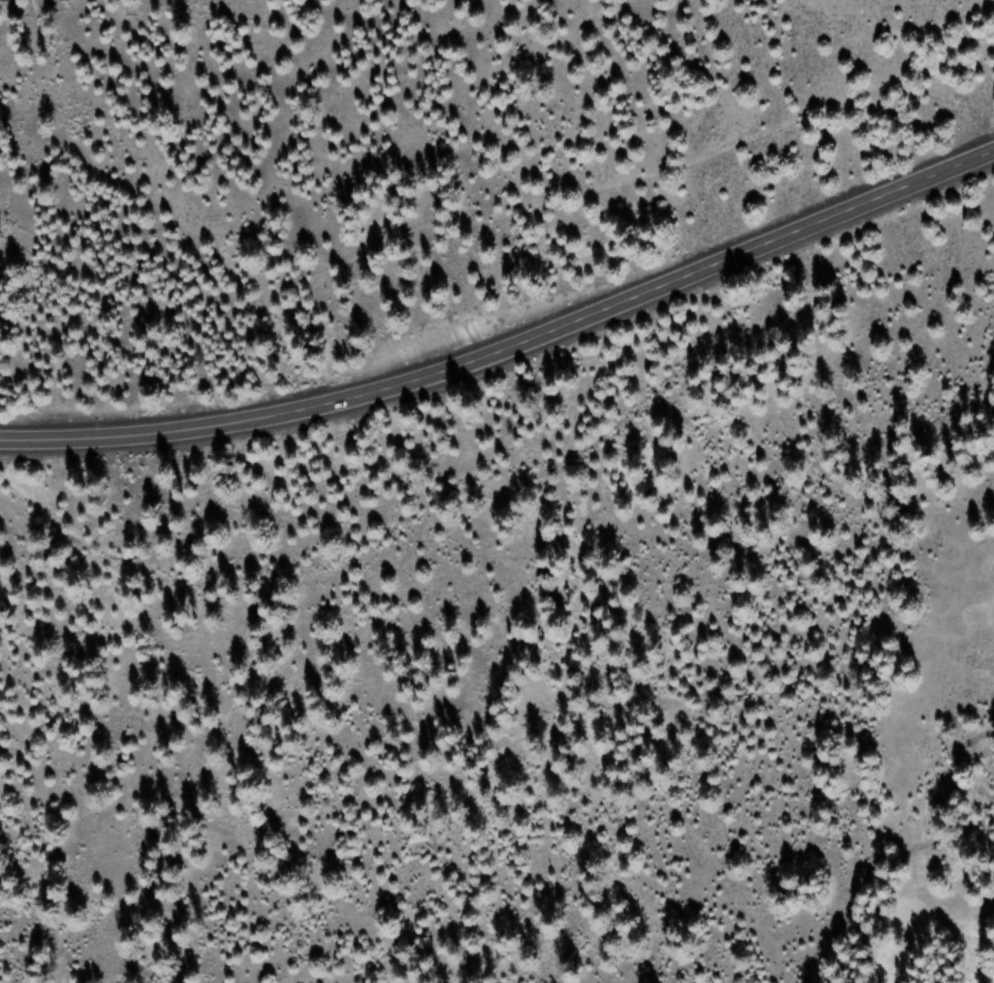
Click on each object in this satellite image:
road: (510, 345)

